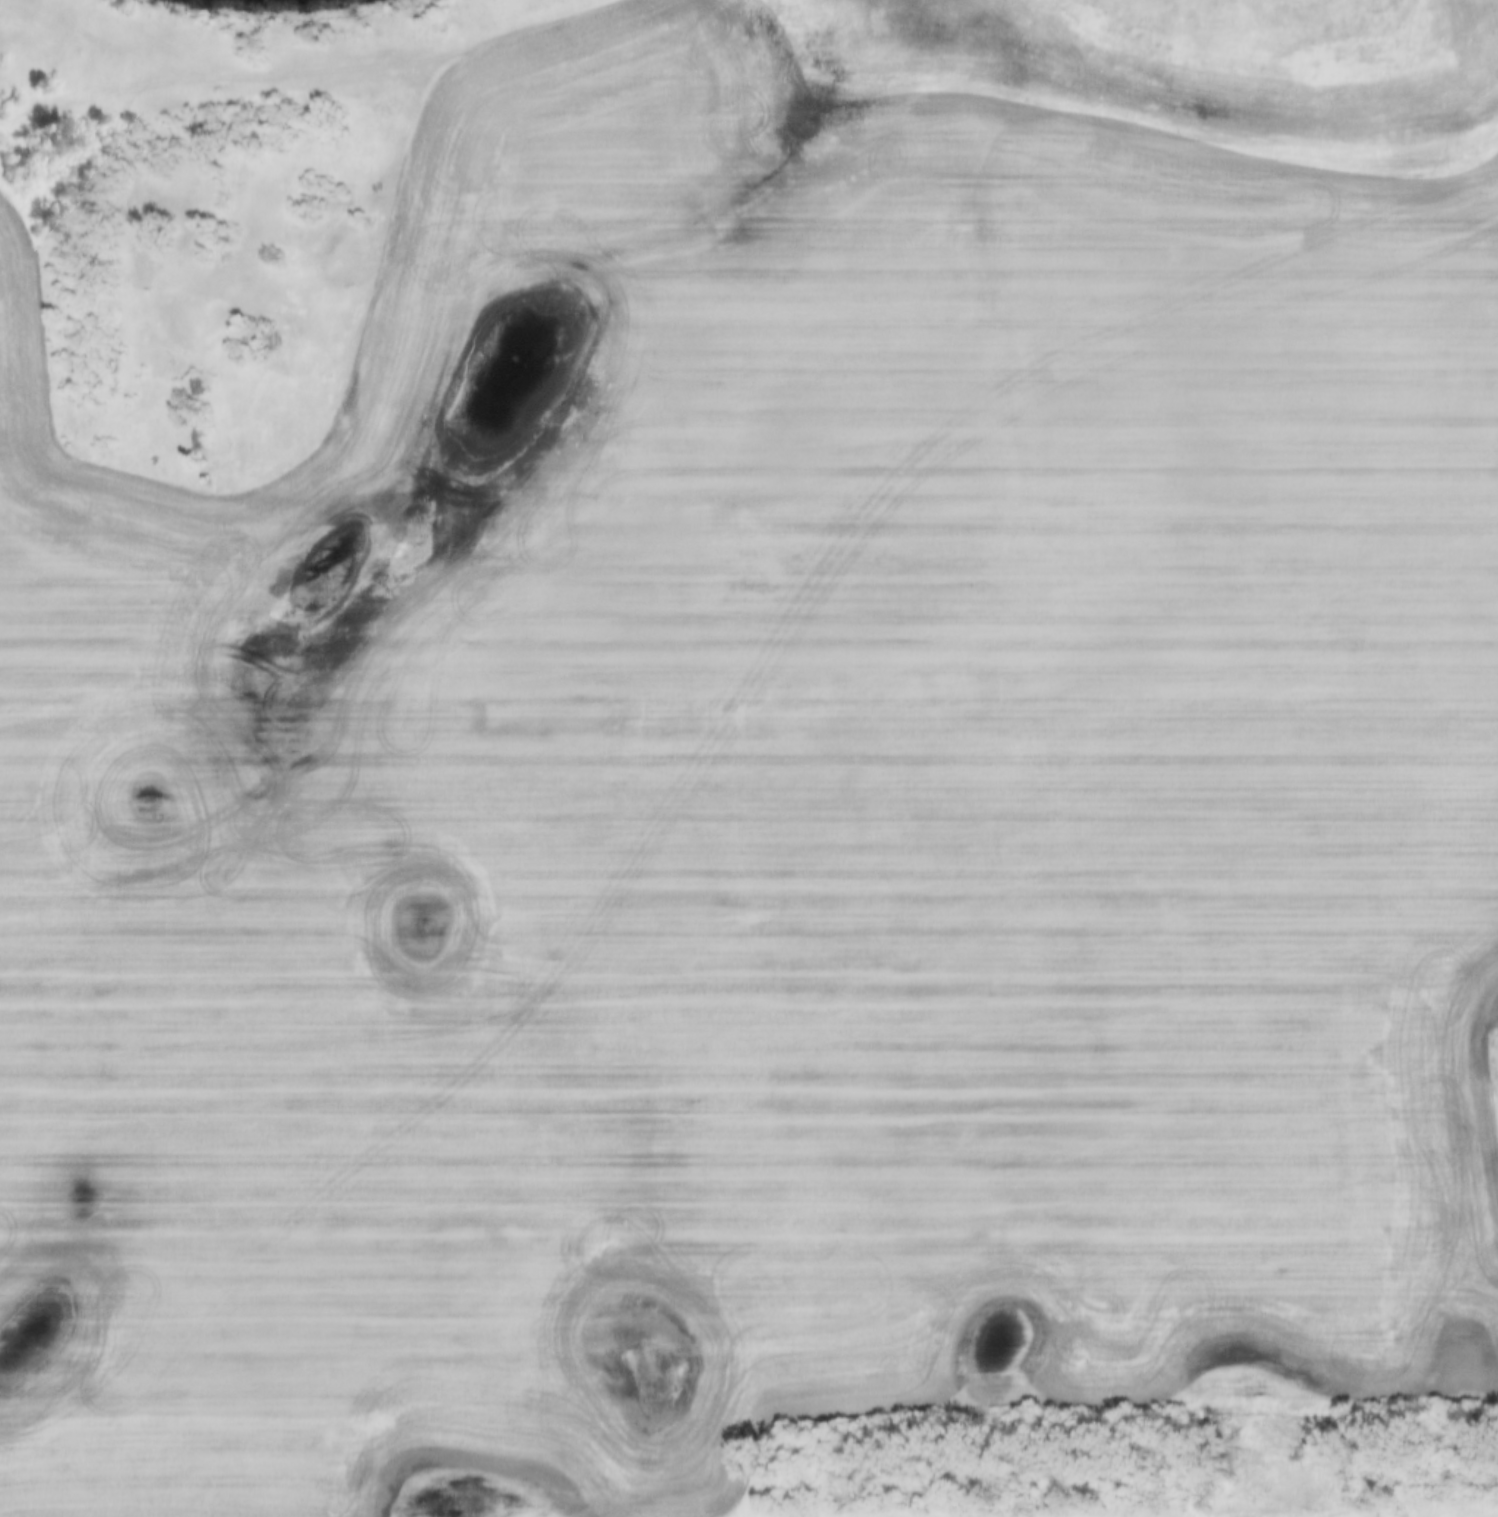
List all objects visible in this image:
road: (300, 64)
building: (197, 436)

